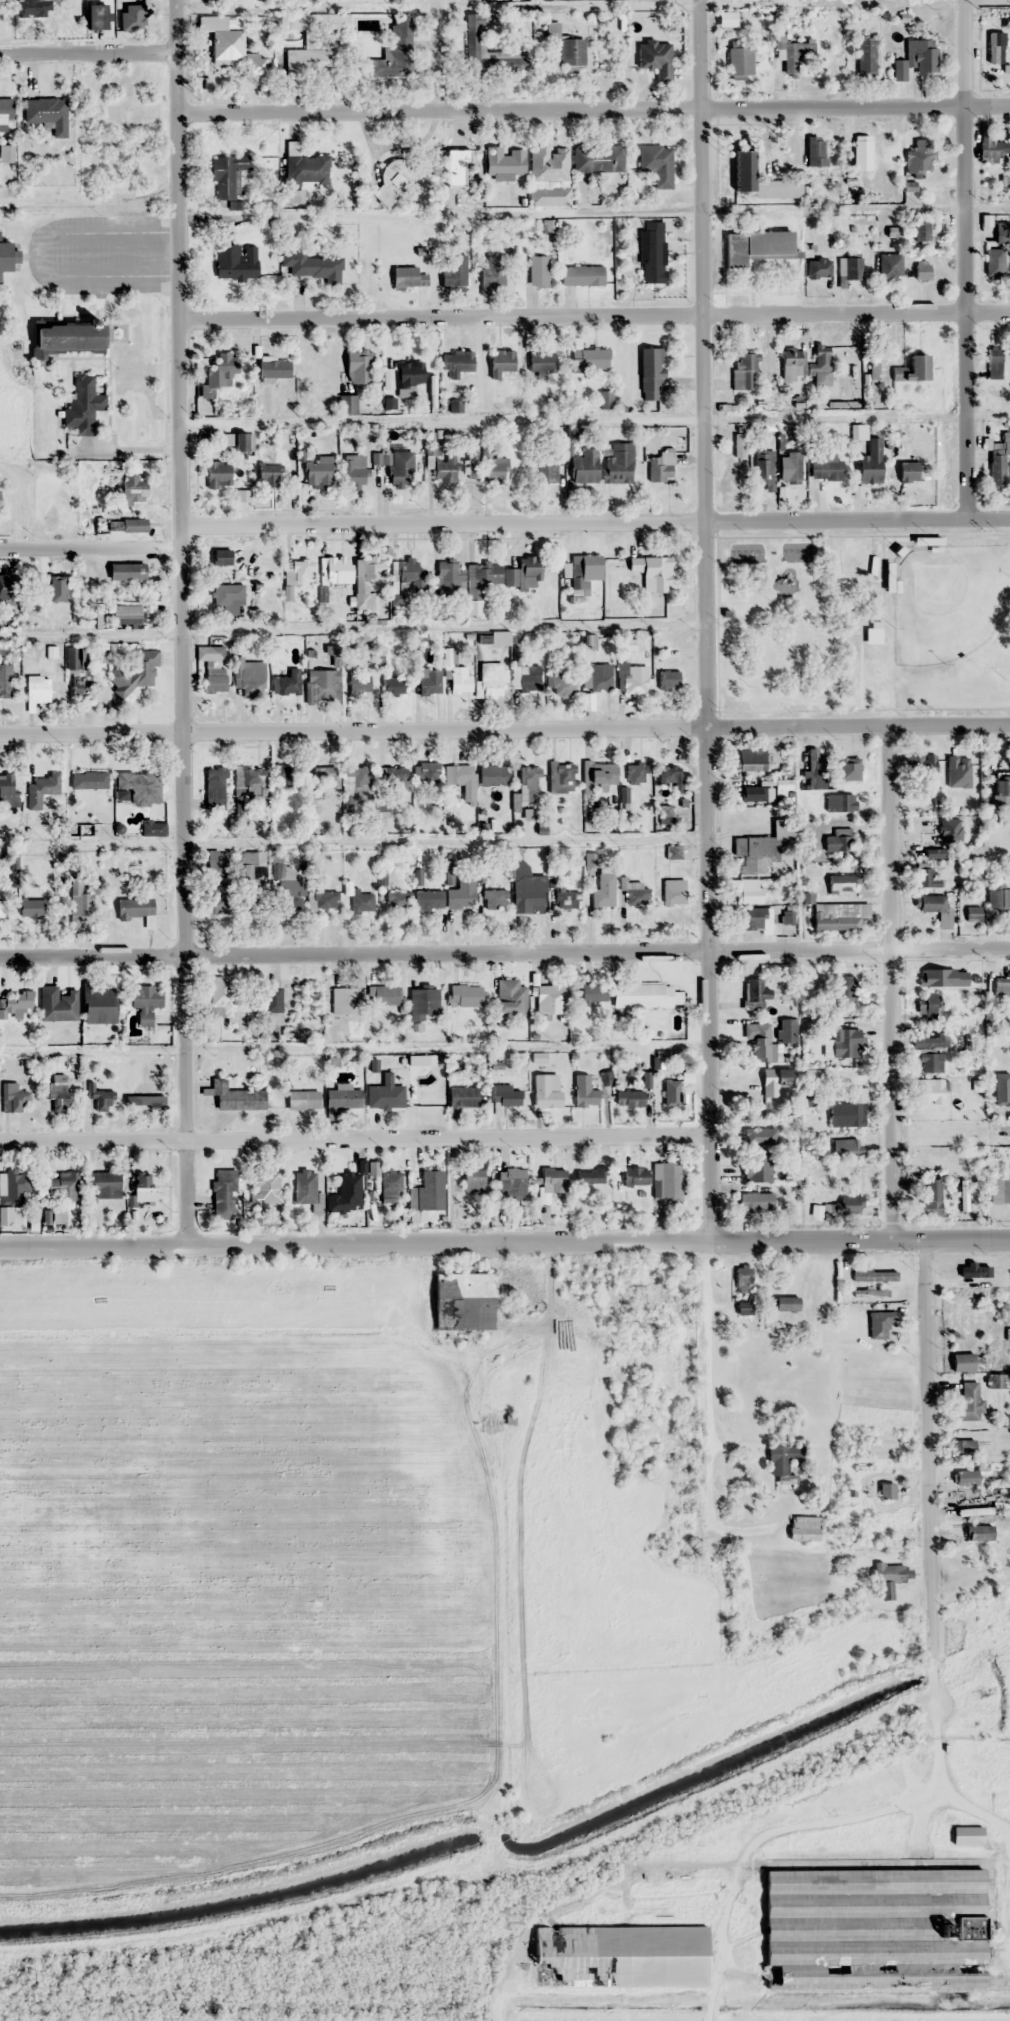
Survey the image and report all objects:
building: (34, 8)
building: (95, 15)
building: (132, 16)
building: (292, 21)
building: (222, 36)
building: (398, 43)
building: (482, 46)
building: (794, 52)
road: (88, 53)
road: (438, 55)
building: (866, 57)
building: (655, 58)
building: (917, 58)
building: (307, 60)
building: (740, 60)
road: (986, 105)
road: (570, 109)
building: (4, 113)
building: (46, 113)
building: (990, 149)
building: (815, 150)
building: (862, 150)
building: (920, 157)
building: (598, 158)
building: (504, 160)
building: (549, 163)
building: (657, 163)
building: (743, 164)
building: (456, 167)
building: (307, 169)
building: (227, 174)
building: (395, 178)
building: (560, 196)
building: (921, 231)
building: (1002, 232)
building: (756, 246)
building: (381, 248)
building: (651, 251)
building: (5, 256)
road: (964, 258)
building: (236, 261)
building: (994, 262)
building: (311, 264)
building: (890, 265)
building: (818, 268)
building: (850, 268)
building: (454, 269)
building: (538, 270)
building: (921, 270)
building: (492, 271)
building: (581, 275)
building: (408, 277)
road: (594, 317)
building: (66, 336)
building: (821, 357)
building: (589, 359)
building: (541, 360)
building: (500, 362)
building: (994, 362)
building: (792, 364)
building: (877, 365)
building: (358, 366)
building: (744, 369)
building: (912, 369)
building: (220, 371)
building: (650, 373)
building: (404, 374)
building: (83, 403)
building: (348, 404)
building: (234, 440)
building: (738, 445)
building: (870, 461)
building: (617, 462)
building: (472, 464)
building: (661, 465)
building: (397, 466)
building: (583, 466)
building: (789, 467)
building: (997, 467)
building: (354, 468)
building: (445, 469)
building: (496, 469)
building: (546, 469)
building: (764, 469)
building: (826, 469)
building: (908, 471)
building: (316, 472)
building: (218, 474)
building: (270, 474)
building: (132, 487)
road: (595, 522)
building: (126, 524)
road: (90, 548)
building: (221, 556)
building: (126, 571)
building: (586, 571)
building: (296, 572)
building: (654, 572)
building: (330, 573)
building: (525, 574)
building: (447, 575)
building: (486, 575)
building: (365, 583)
building: (54, 585)
building: (4, 586)
building: (227, 598)
building: (125, 614)
road: (704, 622)
road: (180, 623)
building: (873, 631)
building: (216, 653)
building: (76, 658)
building: (137, 673)
building: (249, 677)
building: (596, 677)
building: (5, 678)
building: (526, 678)
building: (215, 679)
building: (491, 679)
building: (633, 679)
building: (668, 679)
building: (458, 680)
building: (359, 681)
building: (429, 681)
building: (322, 682)
building: (286, 683)
building: (560, 684)
building: (393, 685)
building: (80, 688)
building: (36, 691)
road: (504, 728)
building: (750, 760)
building: (922, 766)
building: (850, 767)
building: (425, 772)
building: (635, 772)
building: (459, 774)
building: (493, 774)
building: (598, 774)
building: (284, 775)
building: (670, 775)
building: (324, 777)
building: (395, 777)
building: (561, 777)
building: (89, 780)
building: (249, 780)
building: (357, 781)
building: (528, 783)
building: (784, 784)
building: (140, 786)
building: (215, 788)
building: (42, 789)
building: (8, 790)
building: (1001, 790)
building: (753, 794)
building: (840, 802)
building: (665, 815)
building: (152, 829)
building: (949, 829)
building: (838, 839)
building: (761, 849)
building: (245, 872)
building: (925, 876)
building: (842, 883)
building: (531, 890)
building: (603, 890)
building: (674, 891)
building: (750, 891)
building: (461, 893)
building: (289, 894)
building: (636, 894)
building: (220, 897)
building: (566, 897)
building: (494, 898)
building: (80, 900)
building: (324, 900)
building: (397, 900)
building: (427, 900)
building: (999, 900)
building: (360, 901)
building: (934, 906)
building: (134, 907)
building: (1, 908)
building: (32, 908)
building: (973, 913)
building: (835, 917)
building: (755, 918)
road: (504, 951)
road: (889, 984)
building: (756, 990)
building: (844, 990)
building: (594, 993)
building: (1003, 993)
building: (508, 994)
building: (385, 995)
building: (465, 995)
building: (645, 995)
building: (551, 998)
building: (980, 999)
building: (229, 1000)
building: (342, 1001)
building: (145, 1002)
building: (422, 1002)
building: (57, 1004)
building: (98, 1004)
building: (14, 1005)
building: (271, 1006)
building: (927, 1007)
building: (787, 1030)
building: (930, 1040)
building: (760, 1041)
building: (841, 1042)
building: (929, 1062)
building: (813, 1074)
building: (998, 1081)
building: (766, 1086)
building: (546, 1090)
building: (585, 1090)
building: (928, 1090)
building: (668, 1091)
building: (56, 1092)
building: (385, 1094)
building: (505, 1095)
building: (463, 1096)
building: (13, 1097)
building: (628, 1098)
building: (239, 1099)
building: (302, 1099)
building: (343, 1099)
building: (101, 1100)
building: (144, 1101)
building: (849, 1110)
road: (986, 1135)
building: (756, 1136)
road: (355, 1138)
building: (847, 1147)
building: (757, 1168)
building: (590, 1176)
building: (634, 1176)
building: (553, 1180)
building: (511, 1181)
building: (669, 1181)
building: (104, 1183)
building: (58, 1185)
building: (265, 1185)
building: (142, 1186)
building: (391, 1186)
building: (466, 1186)
building: (306, 1187)
building: (995, 1190)
building: (427, 1192)
building: (346, 1193)
building: (224, 1194)
building: (11, 1195)
building: (930, 1198)
building: (755, 1202)
building: (848, 1205)
road: (505, 1245)
building: (874, 1276)
building: (743, 1278)
building: (871, 1293)
building: (463, 1301)
building: (786, 1303)
building: (879, 1324)
building: (966, 1362)
building: (649, 1403)
building: (968, 1403)
building: (963, 1448)
building: (633, 1453)
road: (928, 1453)
building: (784, 1466)
building: (966, 1476)
building: (886, 1491)
building: (974, 1511)
building: (804, 1528)
building: (889, 1578)
railway: (944, 1721)
road: (942, 1765)
building: (966, 1835)
road: (738, 1845)
road: (922, 1863)
building: (873, 1929)
building: (619, 1955)

